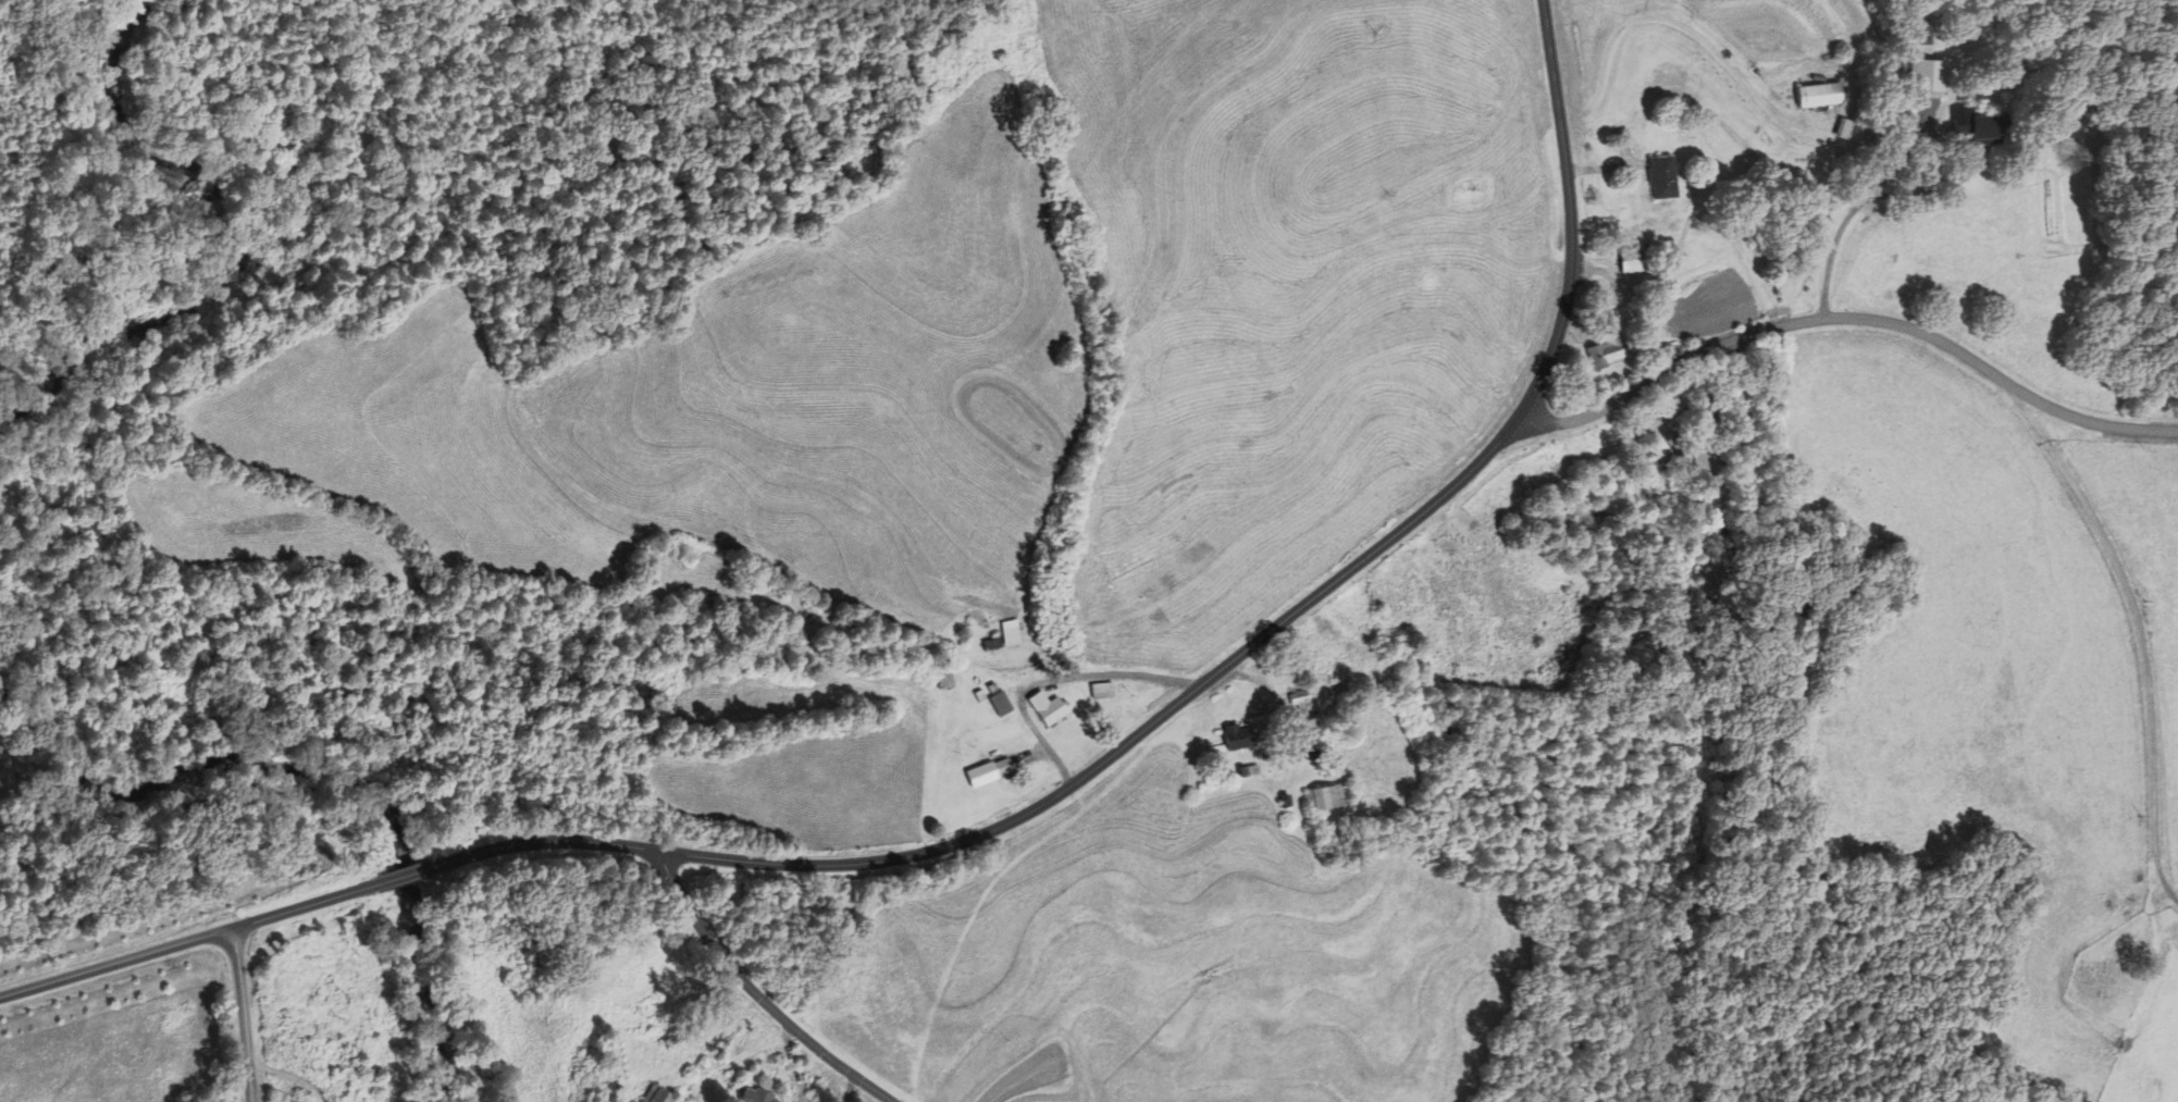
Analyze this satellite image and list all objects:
building: (1920, 35)
building: (1925, 74)
building: (1818, 95)
building: (1981, 127)
building: (1842, 128)
building: (1660, 177)
road: (1846, 219)
building: (1630, 260)
road: (1843, 317)
building: (1607, 350)
building: (1660, 451)
building: (1719, 527)
road: (2134, 636)
building: (1101, 691)
building: (1297, 702)
building: (1000, 704)
building: (1051, 709)
building: (1236, 738)
building: (986, 769)
building: (1322, 798)
road: (1028, 814)
park: (2111, 973)
road: (756, 995)
road: (244, 1014)
building: (656, 1095)
building: (758, 1097)

